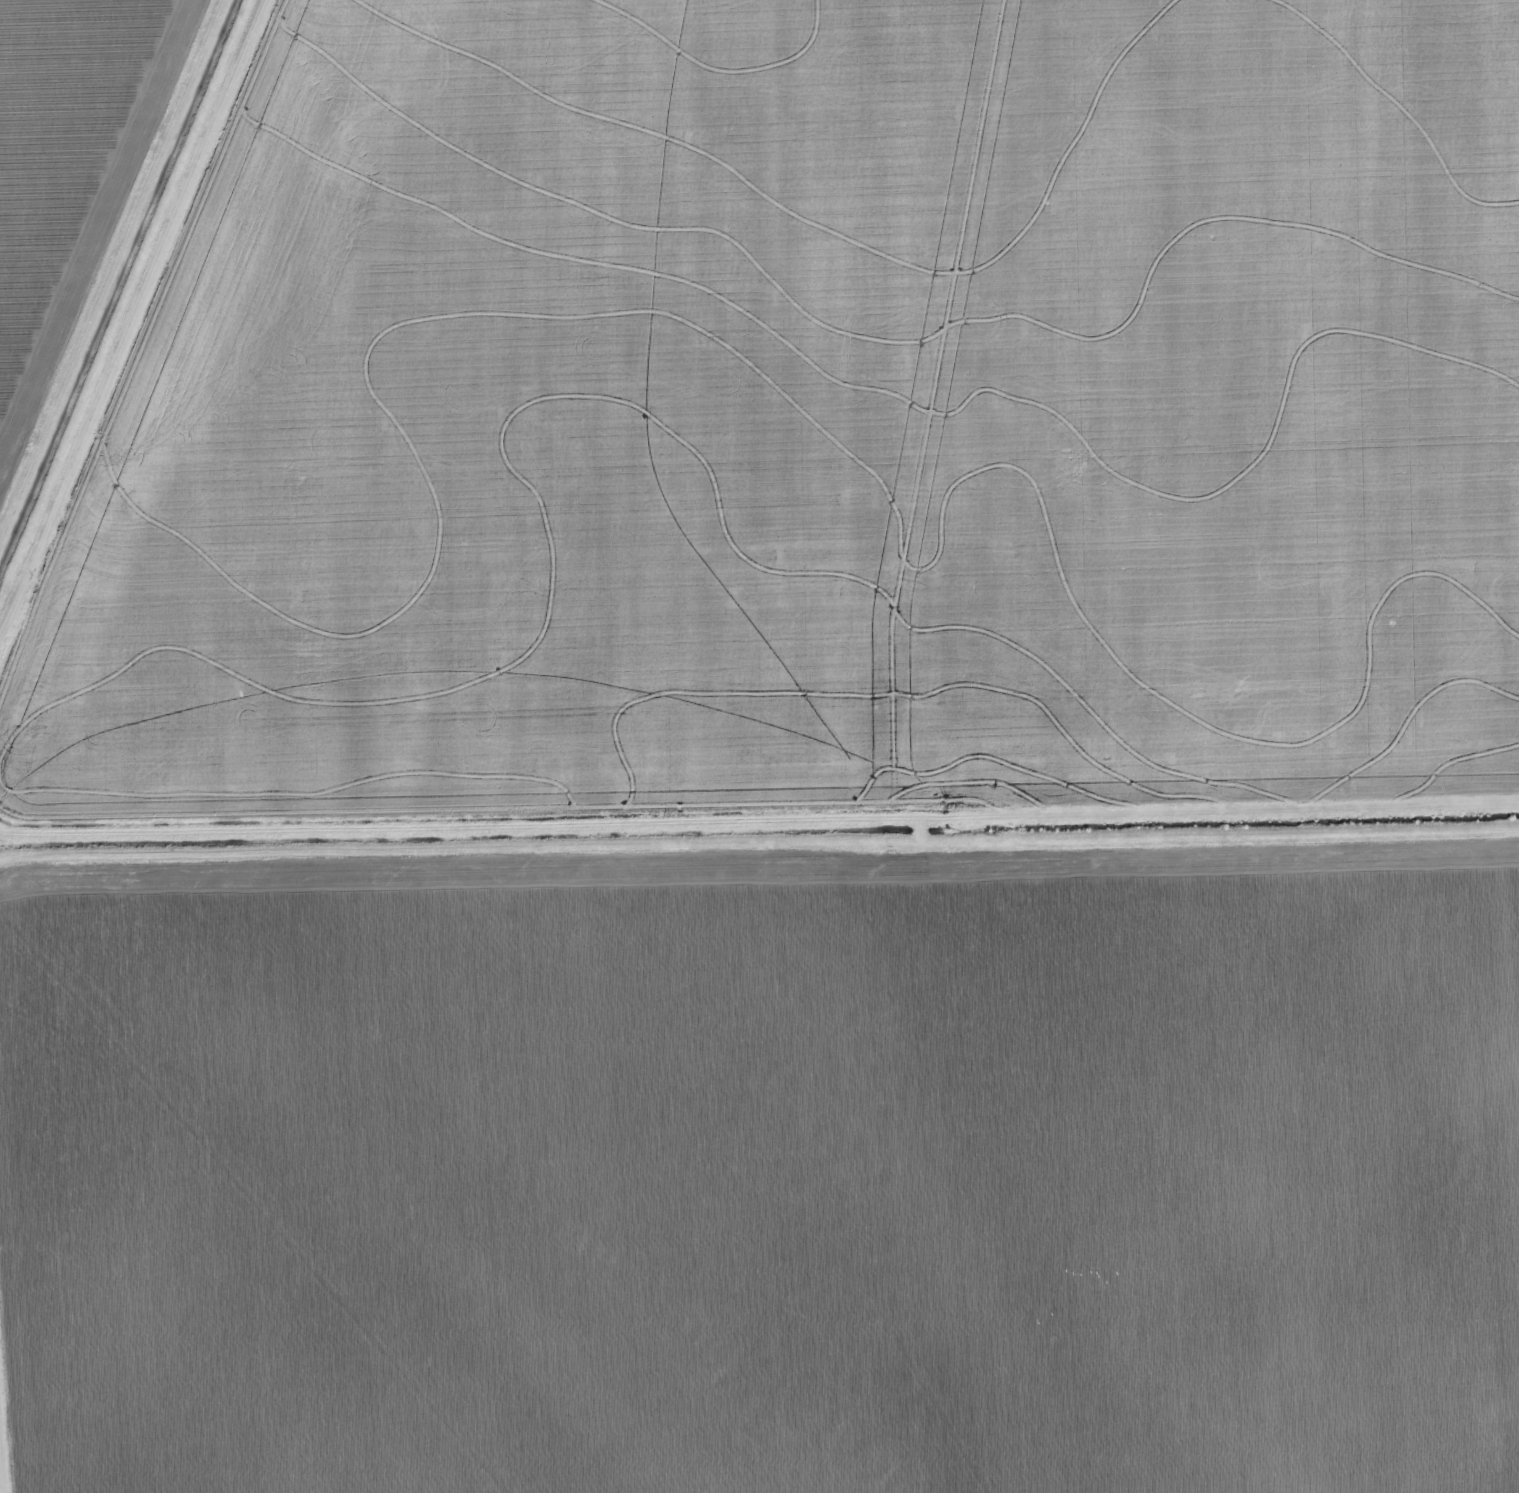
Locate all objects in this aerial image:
road: (133, 323)
road: (3, 1449)

